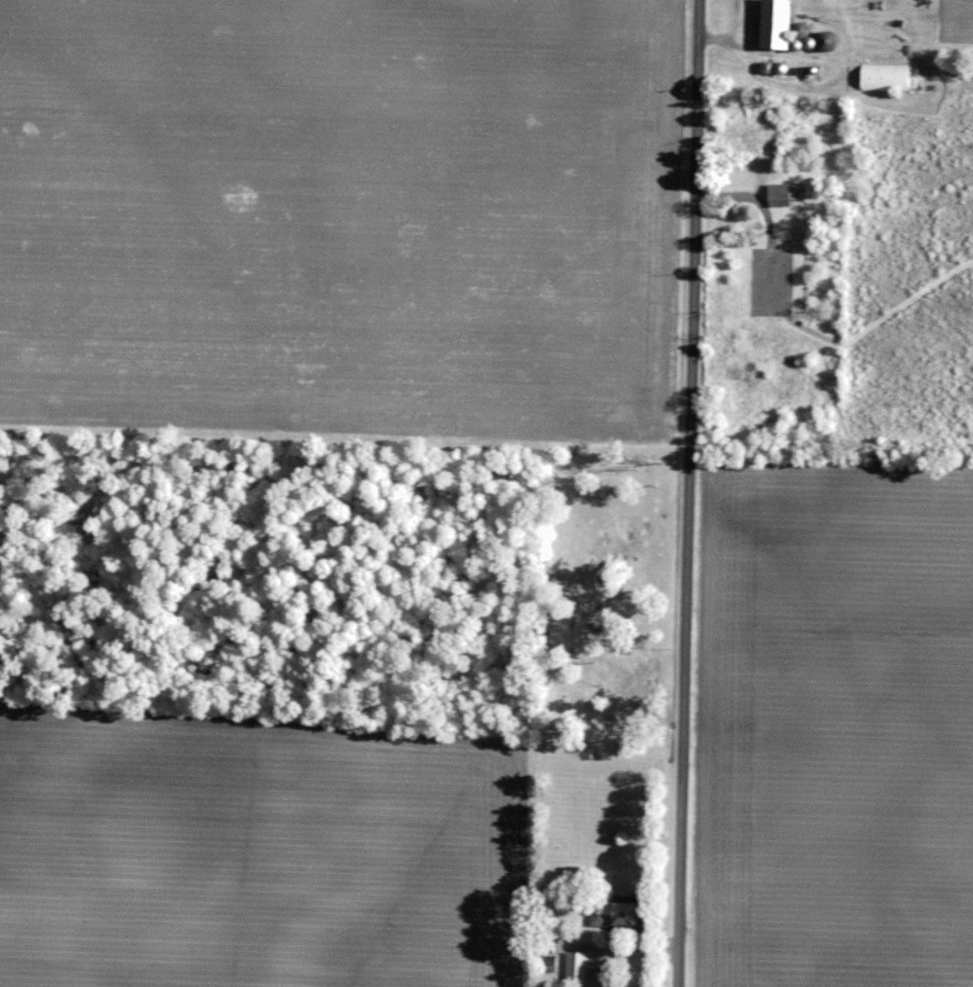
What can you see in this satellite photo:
road: (741, 50)
road: (767, 84)
road: (755, 195)
parking lot: (769, 279)
road: (881, 315)
road: (937, 348)
road: (686, 493)

